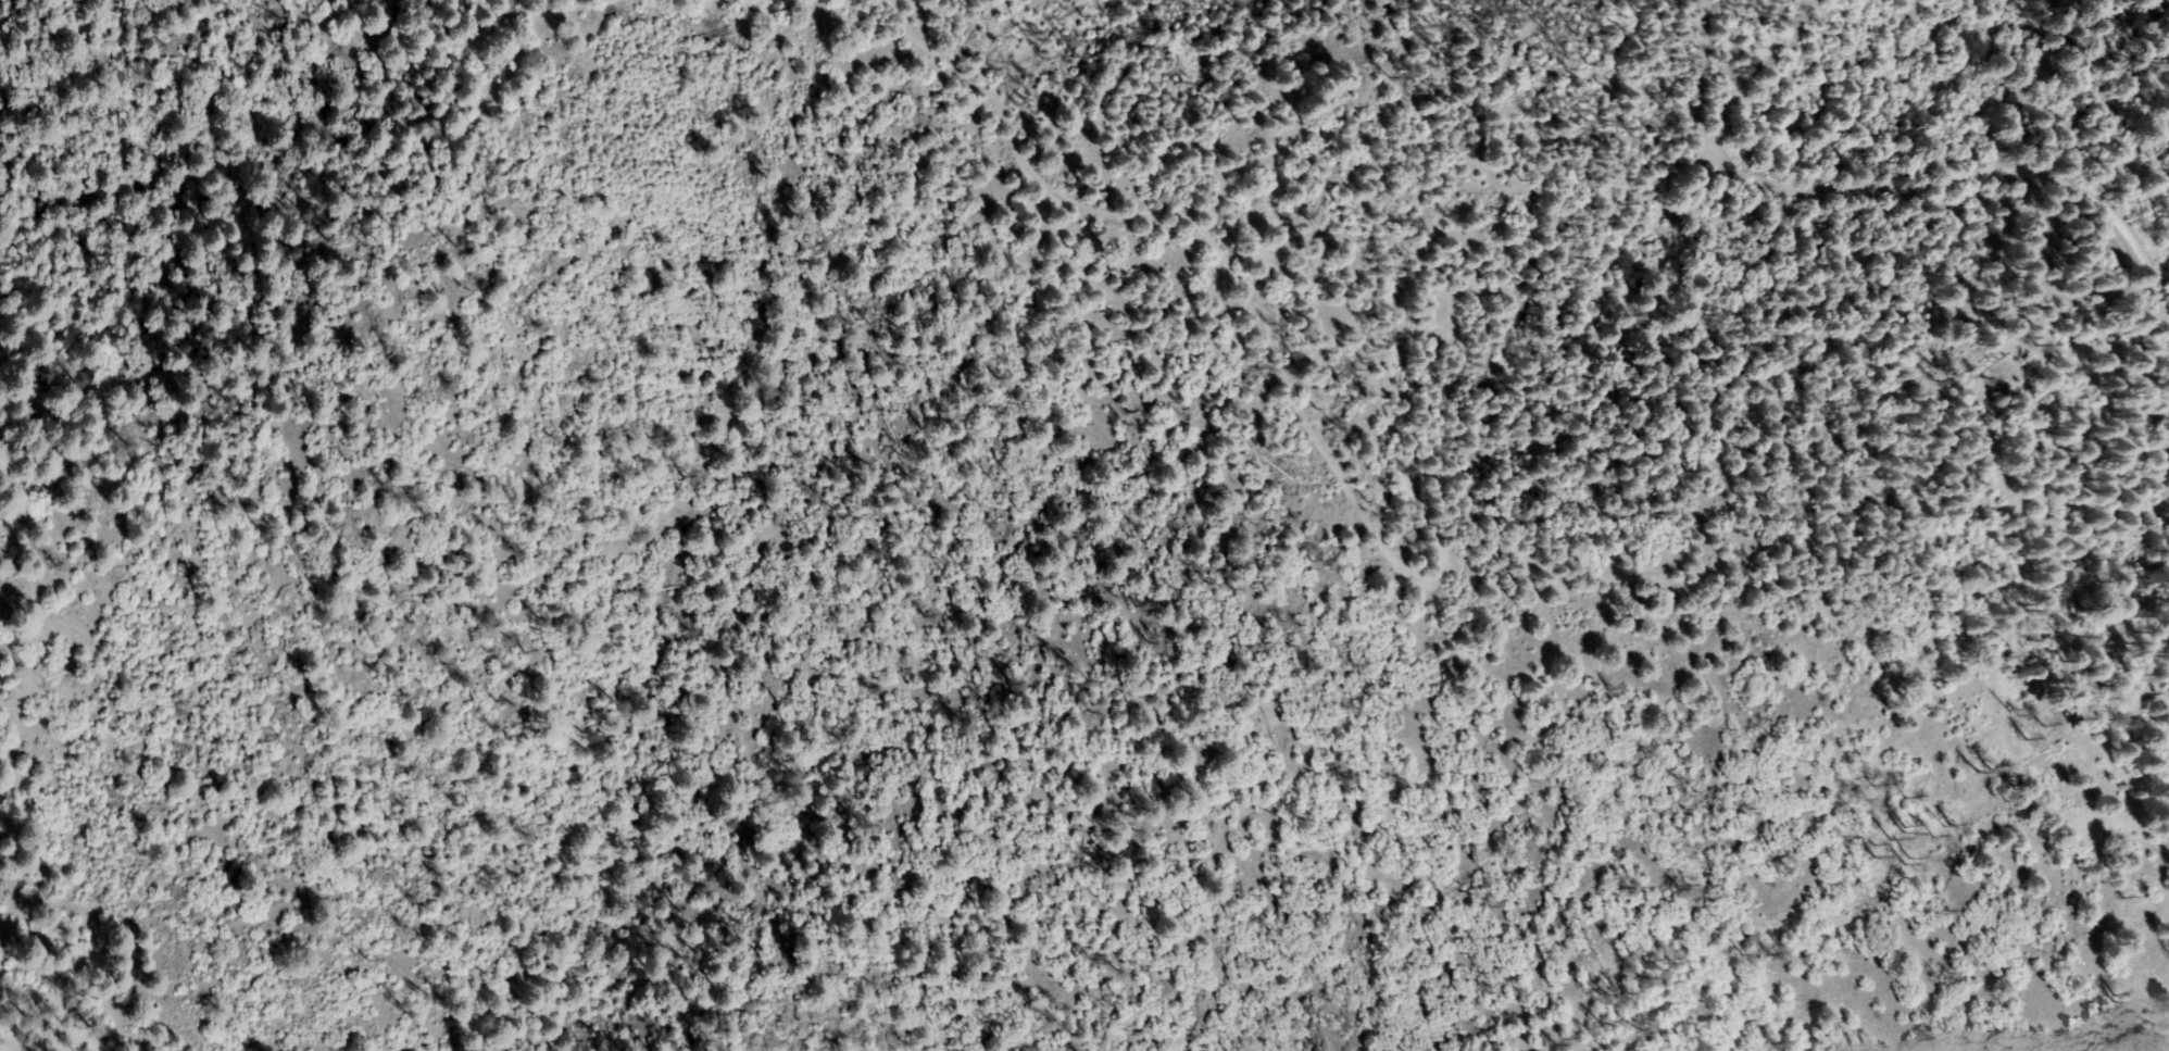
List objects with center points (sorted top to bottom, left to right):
road: (1881, 191)
road: (2166, 495)

